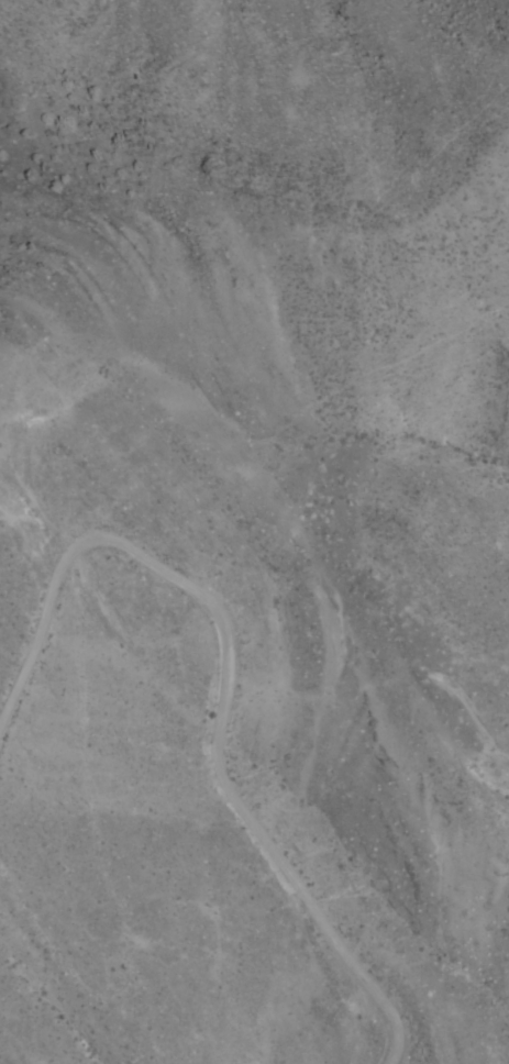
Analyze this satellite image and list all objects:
road: (212, 785)

